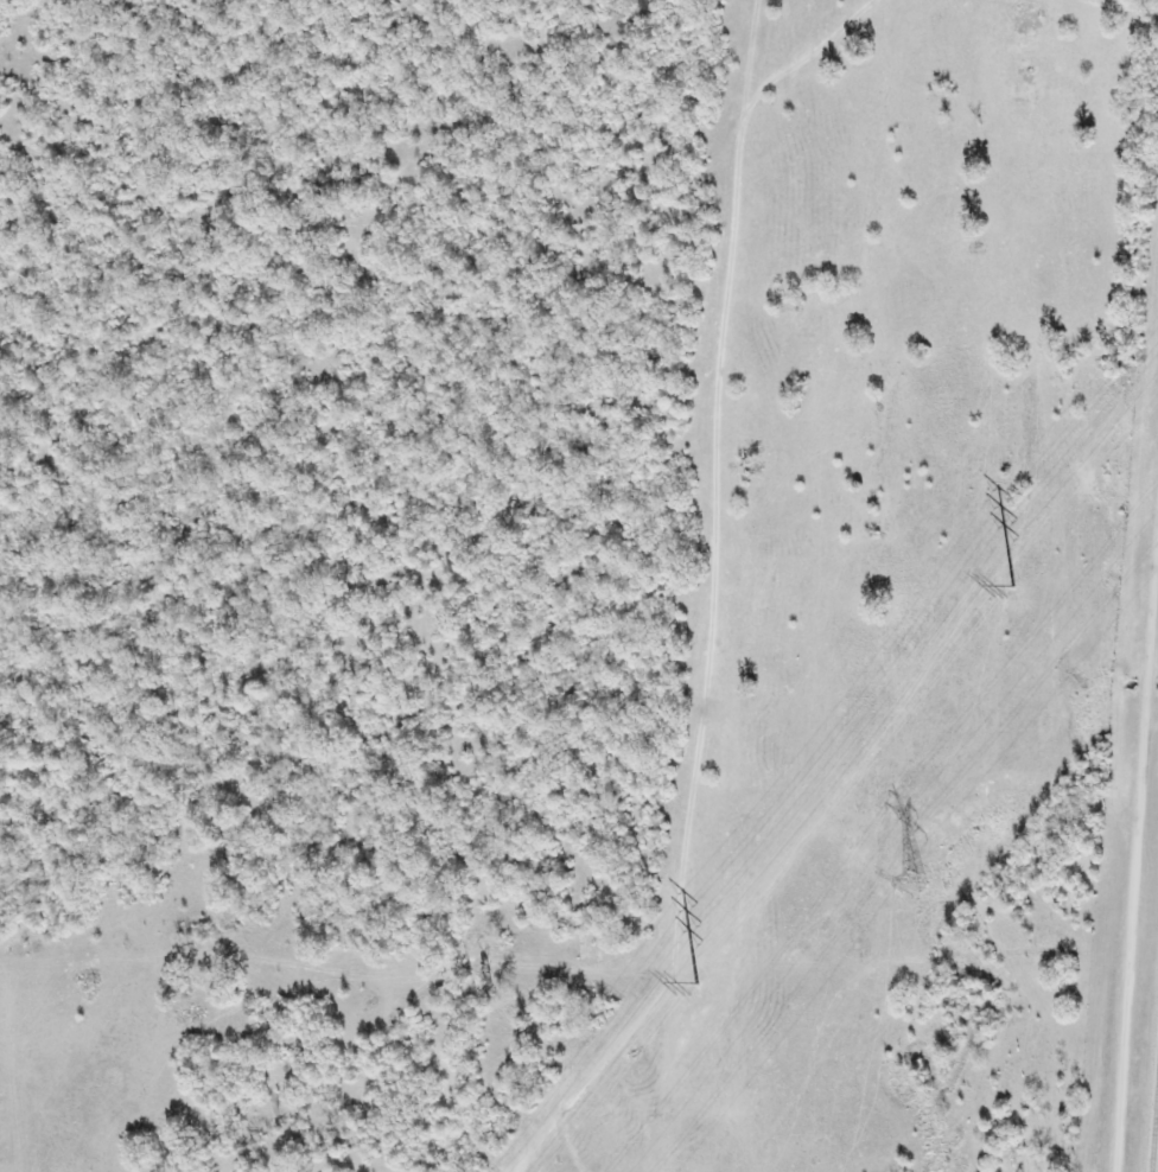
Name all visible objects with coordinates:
road: (1135, 881)
power tower: (914, 884)
railway: (1156, 1141)

